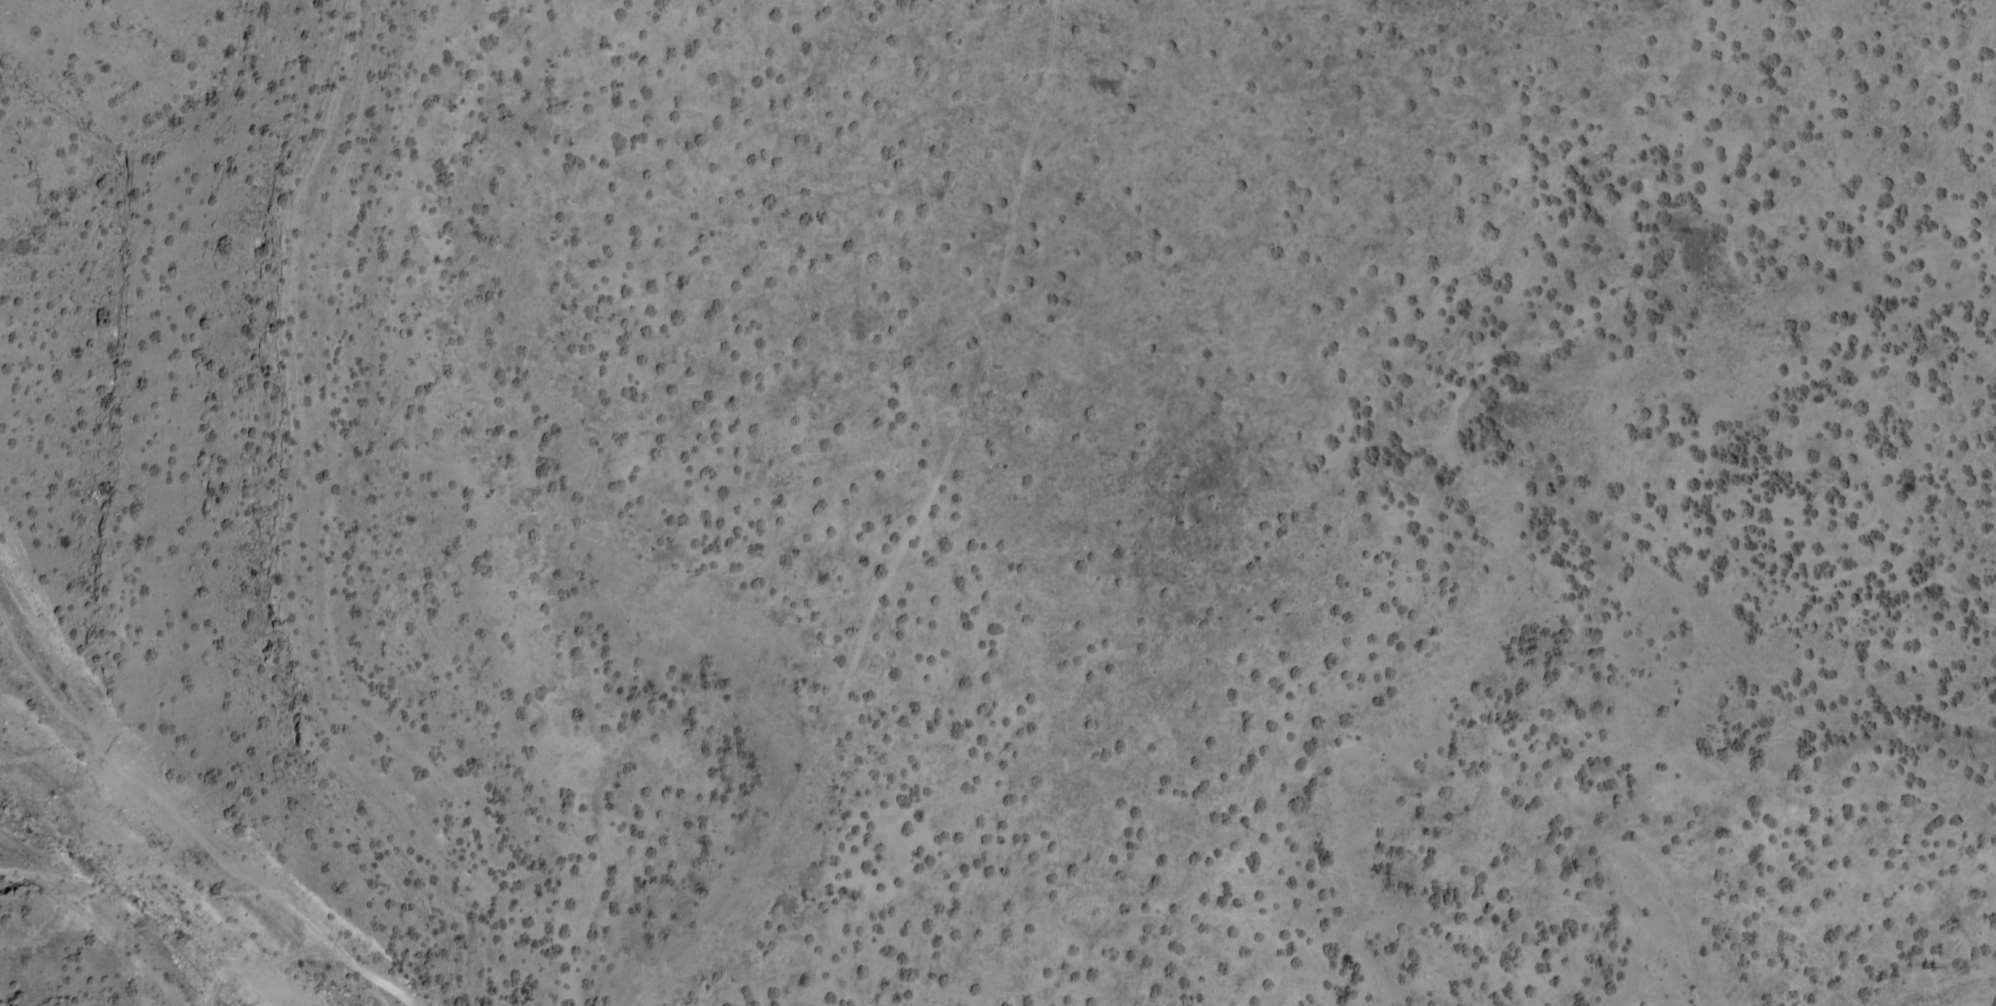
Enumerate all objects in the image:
road: (80, 806)

